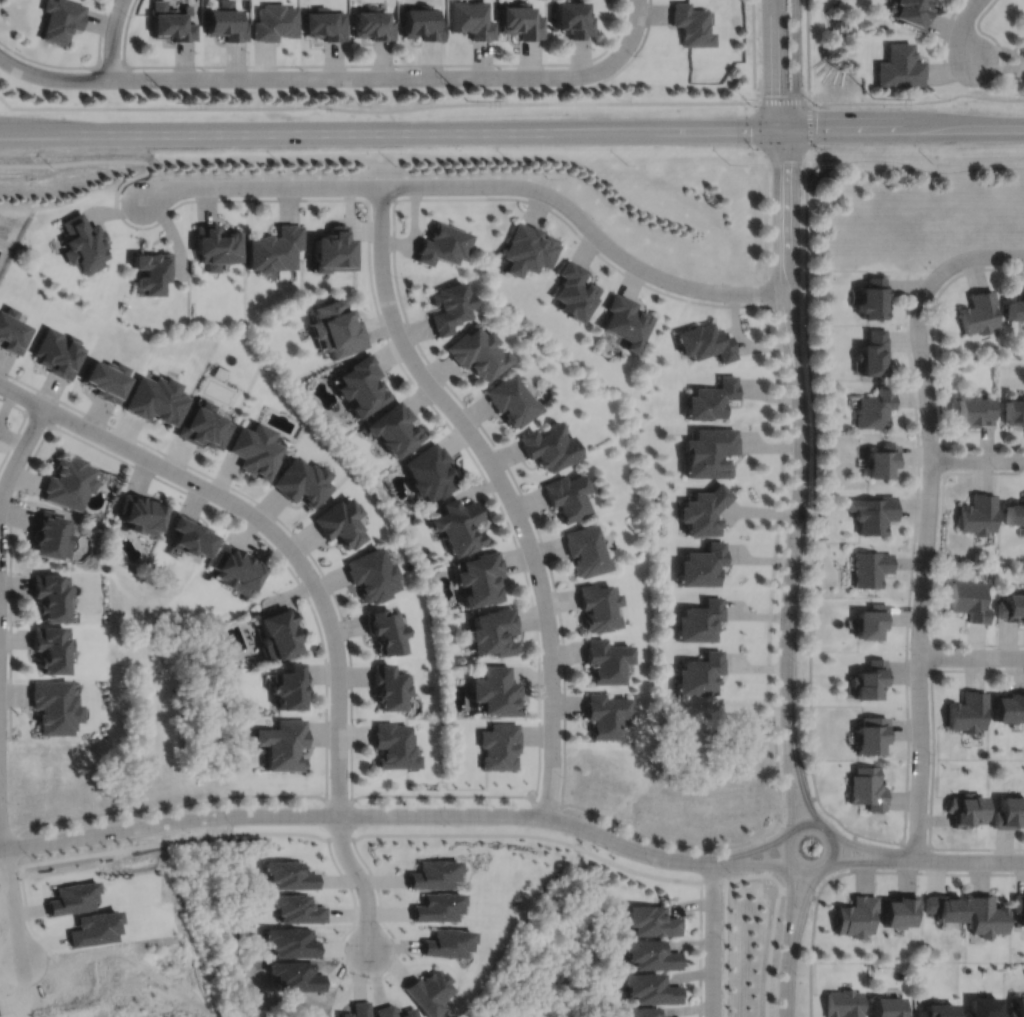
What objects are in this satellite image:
building: (912, 11)
street lamp: (127, 14)
building: (574, 17)
building: (472, 18)
building: (60, 19)
building: (521, 20)
building: (225, 21)
building: (275, 21)
building: (170, 22)
building: (422, 22)
building: (324, 23)
building: (373, 23)
building: (691, 24)
road: (634, 26)
road: (963, 29)
road: (990, 34)
road: (112, 38)
road: (945, 38)
street lamp: (947, 44)
road: (808, 50)
road: (754, 51)
street lamp: (632, 53)
building: (1023, 55)
road: (111, 64)
road: (362, 64)
road: (78, 66)
street lamp: (398, 66)
street lamp: (498, 66)
road: (771, 66)
road: (796, 66)
building: (900, 66)
street lamp: (300, 67)
road: (619, 67)
street lamp: (201, 68)
street lamp: (87, 69)
road: (572, 73)
road: (370, 76)
road: (53, 78)
power tower: (874, 97)
power tower: (467, 101)
road: (916, 101)
power tower: (174, 102)
road: (781, 102)
road: (375, 109)
road: (755, 125)
road: (808, 125)
traffic signals: (782, 131)
road: (511, 132)
street lamp: (752, 147)
street lamp: (819, 147)
road: (786, 155)
street lamp: (800, 163)
road: (918, 166)
road: (261, 186)
road: (837, 190)
street lamp: (488, 195)
street lamp: (244, 196)
road: (382, 198)
road: (766, 212)
street lamp: (596, 218)
street lamp: (137, 223)
road: (586, 224)
building: (82, 243)
building: (443, 244)
street lamp: (801, 245)
building: (215, 246)
road: (783, 247)
building: (274, 249)
building: (528, 249)
building: (334, 250)
road: (978, 255)
street lamp: (1008, 264)
street lamp: (928, 269)
building: (150, 272)
street lamp: (393, 275)
street lamp: (667, 290)
building: (576, 292)
road: (768, 294)
building: (873, 299)
building: (450, 307)
building: (1016, 309)
building: (980, 312)
road: (407, 321)
building: (626, 322)
street lamp: (802, 323)
building: (336, 329)
building: (12, 332)
building: (705, 343)
building: (58, 353)
building: (478, 353)
building: (873, 354)
street lamp: (932, 357)
road: (936, 362)
road: (409, 378)
building: (106, 380)
street lamp: (416, 383)
building: (361, 384)
building: (512, 398)
building: (711, 398)
building: (154, 399)
building: (875, 407)
building: (975, 409)
building: (1014, 410)
road: (36, 416)
street lamp: (56, 424)
building: (202, 425)
road: (19, 426)
building: (395, 427)
street lamp: (811, 433)
street lamp: (921, 438)
road: (117, 442)
building: (550, 445)
street lamp: (493, 447)
building: (255, 448)
building: (709, 450)
road: (19, 454)
street lamp: (163, 455)
building: (882, 459)
road: (943, 459)
road: (977, 460)
road: (138, 467)
street lamp: (999, 469)
building: (430, 470)
building: (302, 479)
building: (68, 480)
road: (505, 486)
building: (569, 495)
road: (815, 495)
building: (703, 509)
building: (1015, 511)
building: (873, 512)
building: (138, 513)
street lamp: (233, 513)
building: (979, 513)
road: (272, 514)
building: (341, 521)
building: (460, 524)
building: (49, 533)
building: (189, 534)
street lamp: (516, 536)
street lamp: (803, 545)
building: (586, 549)
street lamp: (936, 552)
road: (793, 560)
building: (701, 564)
road: (924, 564)
road: (937, 564)
building: (235, 567)
building: (870, 567)
building: (372, 574)
building: (481, 577)
road: (772, 577)
road: (911, 579)
building: (49, 594)
building: (969, 599)
building: (599, 606)
building: (1011, 607)
building: (699, 620)
building: (871, 620)
street lamp: (7, 623)
building: (385, 630)
building: (494, 631)
building: (277, 632)
road: (334, 638)
building: (50, 647)
street lamp: (994, 647)
street lamp: (910, 653)
road: (931, 656)
road: (971, 657)
building: (608, 660)
street lamp: (797, 661)
building: (699, 673)
building: (869, 679)
building: (289, 685)
building: (388, 686)
street lamp: (562, 686)
building: (497, 690)
building: (53, 706)
building: (1009, 706)
building: (968, 711)
street lamp: (329, 714)
building: (607, 714)
building: (871, 735)
building: (283, 743)
building: (500, 745)
building: (394, 746)
street lamp: (931, 752)
road: (932, 759)
street lamp: (808, 772)
street lamp: (561, 776)
building: (867, 788)
road: (801, 792)
road: (793, 794)
road: (440, 795)
road: (798, 799)
road: (339, 801)
street lamp: (8, 802)
street lamp: (361, 804)
road: (169, 805)
road: (546, 805)
building: (967, 810)
building: (1009, 812)
road: (361, 814)
street lamp: (129, 818)
street lamp: (595, 821)
street lamp: (783, 823)
street lamp: (234, 825)
street lamp: (452, 825)
road: (1, 834)
road: (6, 834)
road: (402, 834)
road: (833, 838)
road: (658, 839)
street lamp: (897, 844)
road: (913, 844)
road: (864, 848)
road: (753, 849)
road: (852, 851)
street lamp: (28, 854)
road: (861, 860)
road: (960, 860)
road: (754, 863)
street lamp: (1010, 870)
street lamp: (731, 871)
road: (937, 872)
building: (290, 875)
building: (435, 875)
road: (361, 880)
street lamp: (816, 890)
building: (72, 898)
road: (790, 899)
road: (805, 901)
road: (12, 904)
building: (1019, 905)
building: (437, 907)
building: (946, 908)
building: (297, 909)
building: (900, 910)
building: (856, 916)
building: (987, 916)
building: (653, 921)
street lamp: (383, 927)
building: (96, 929)
road: (813, 933)
road: (713, 939)
street lamp: (723, 939)
building: (449, 943)
road: (700, 952)
building: (652, 955)
street lamp: (797, 974)
road: (786, 975)
road: (368, 980)
building: (652, 990)
building: (429, 992)
building: (844, 1003)
building: (889, 1007)
building: (984, 1007)
building: (1018, 1008)
building: (359, 1009)
building: (937, 1010)
building: (384, 1011)
building: (643, 1012)
building: (409, 1013)
building: (343, 1014)

